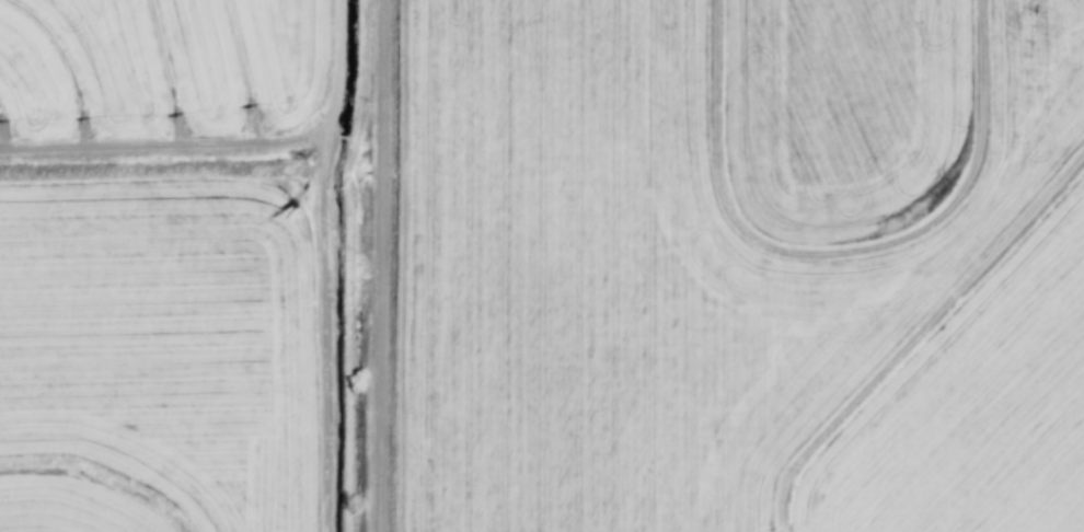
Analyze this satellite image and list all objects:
road: (378, 265)

